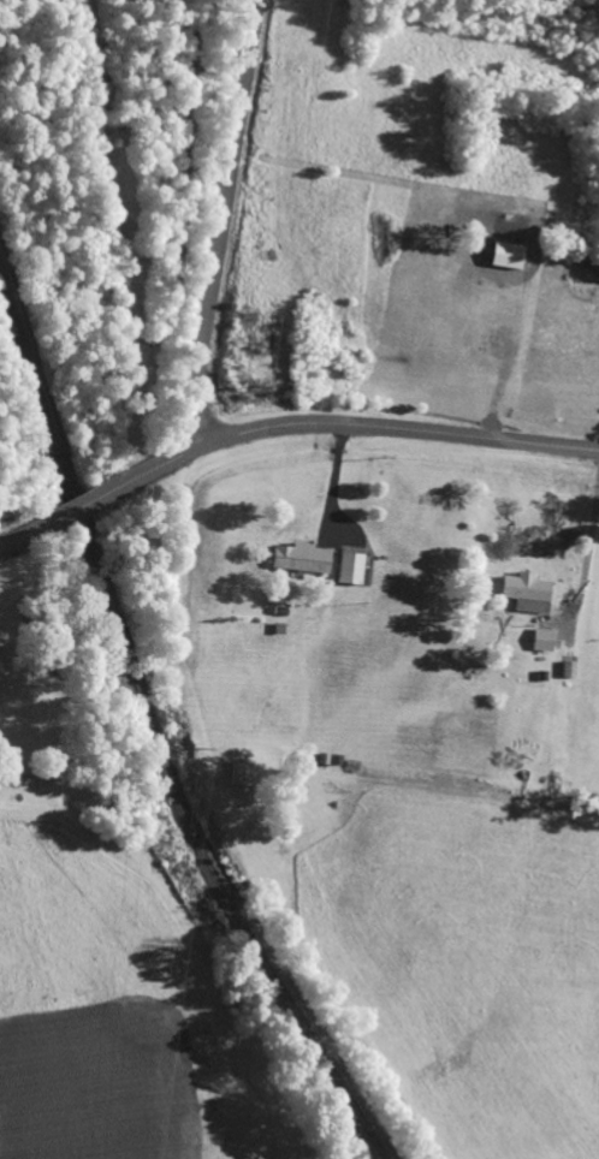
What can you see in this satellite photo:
road: (226, 222)
road: (358, 426)
road: (83, 507)
road: (18, 540)
building: (299, 557)
building: (354, 569)
building: (526, 590)
building: (544, 640)
railway: (150, 726)

